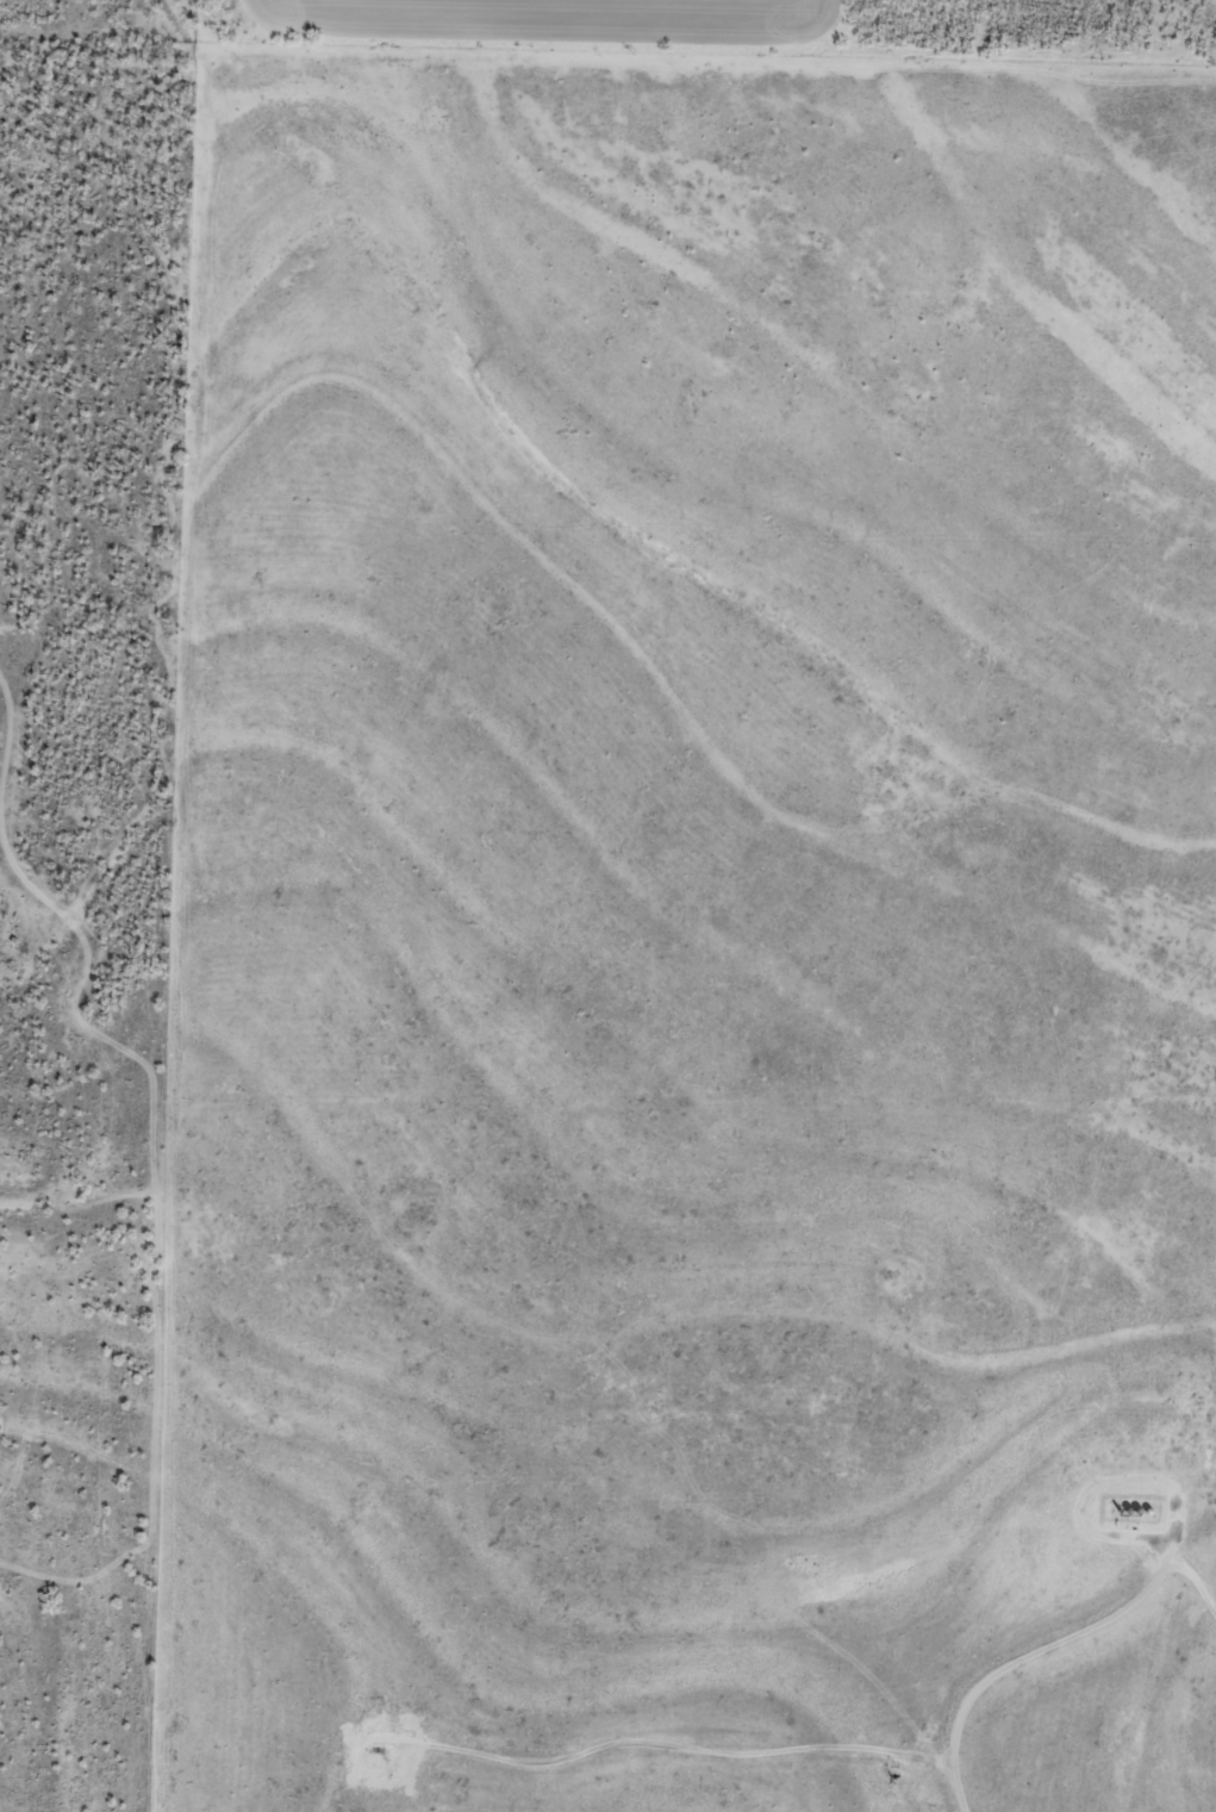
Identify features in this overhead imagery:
road: (994, 1694)

